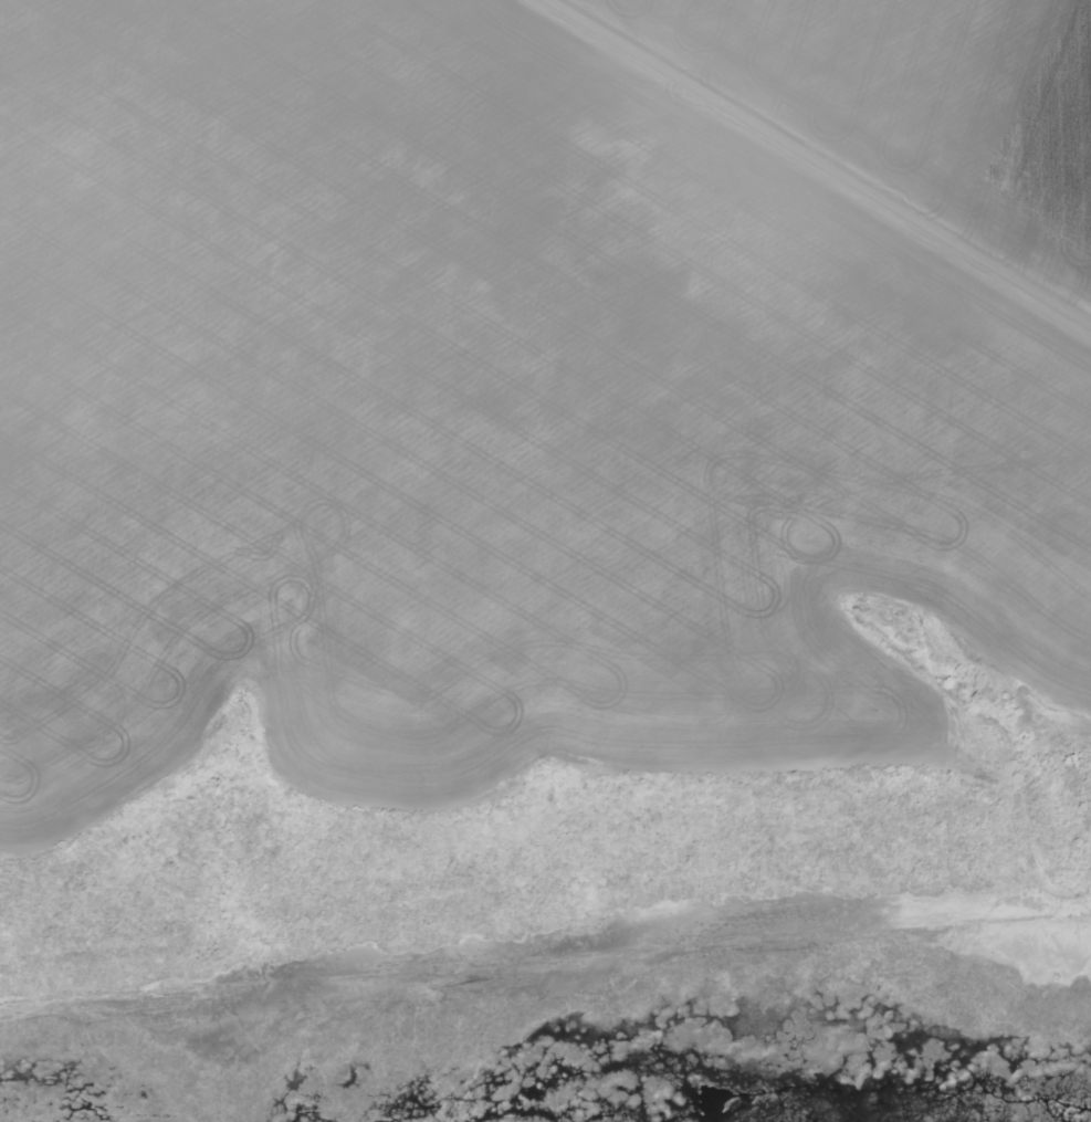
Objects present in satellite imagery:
road: (816, 165)

